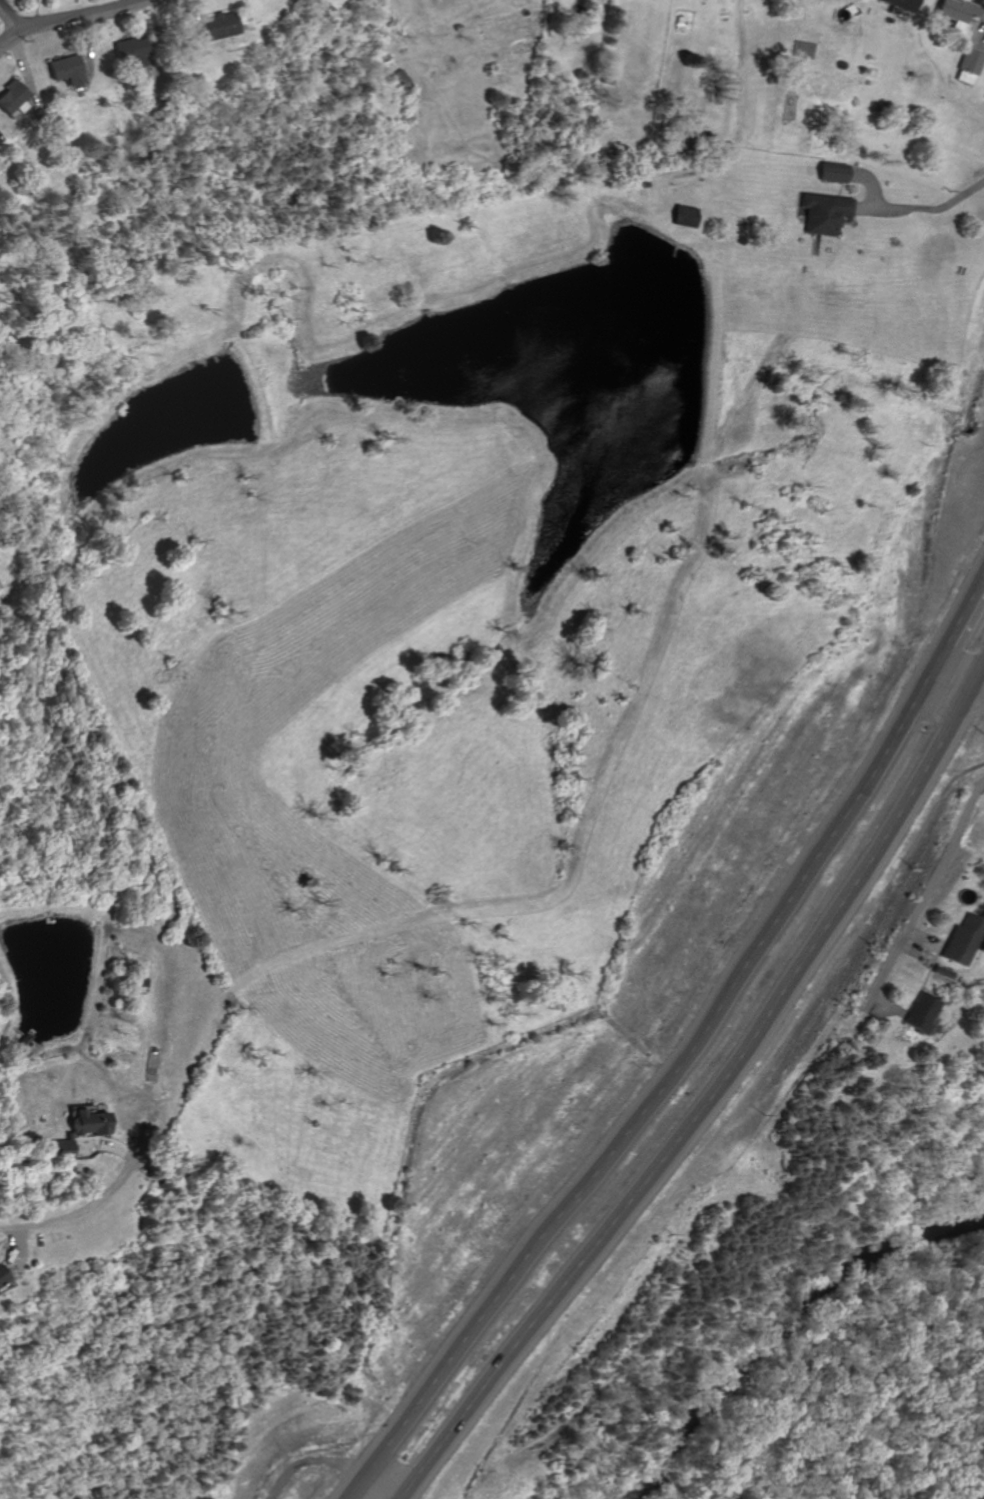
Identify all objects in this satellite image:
building: (897, 4)
building: (957, 10)
road: (68, 17)
road: (8, 20)
building: (211, 25)
building: (128, 51)
building: (968, 60)
building: (61, 68)
building: (9, 94)
building: (832, 171)
road: (869, 179)
road: (921, 207)
building: (824, 211)
building: (684, 216)
road: (957, 626)
road: (957, 691)
road: (924, 895)
road: (922, 942)
building: (958, 942)
building: (938, 974)
road: (883, 1009)
building: (916, 1015)
road: (711, 1097)
road: (654, 1101)
building: (85, 1120)
building: (59, 1150)
road: (90, 1201)
building: (0, 1280)
park: (807, 1319)
road: (332, 1461)

